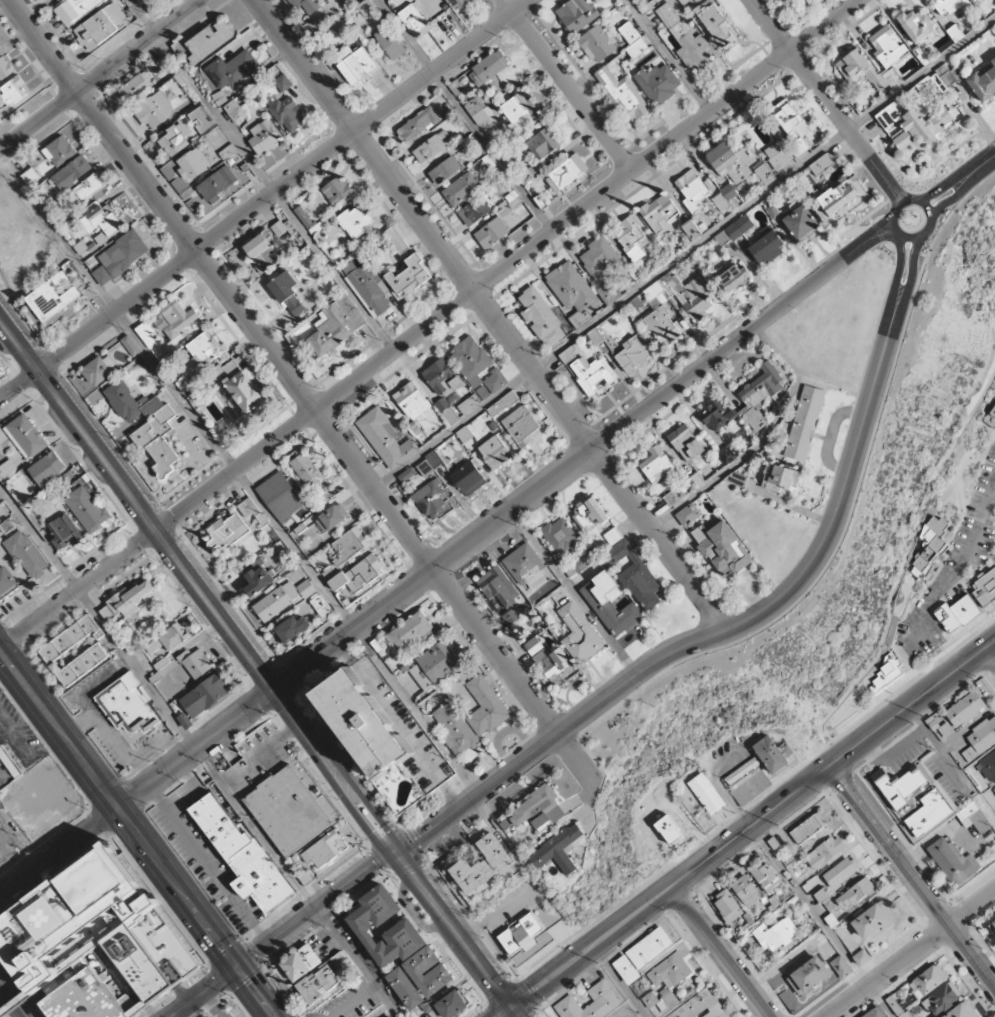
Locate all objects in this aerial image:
building: (330, 0)
building: (784, 0)
building: (457, 4)
building: (306, 5)
building: (948, 6)
building: (365, 7)
building: (74, 9)
building: (577, 14)
building: (414, 20)
building: (715, 23)
building: (915, 24)
building: (101, 26)
building: (686, 39)
building: (209, 40)
building: (633, 40)
building: (390, 42)
building: (597, 44)
road: (42, 46)
road: (138, 46)
building: (887, 46)
road: (667, 56)
building: (354, 63)
building: (488, 67)
building: (5, 68)
building: (232, 69)
building: (864, 70)
road: (809, 77)
building: (941, 78)
building: (283, 83)
building: (658, 83)
building: (983, 83)
road: (567, 85)
building: (136, 87)
building: (455, 87)
building: (14, 90)
building: (623, 95)
building: (518, 108)
building: (479, 109)
building: (155, 110)
building: (235, 111)
building: (288, 114)
road: (464, 115)
building: (786, 116)
road: (38, 121)
building: (418, 124)
building: (912, 126)
building: (263, 137)
building: (174, 139)
building: (544, 143)
building: (429, 149)
building: (59, 151)
building: (776, 155)
building: (731, 161)
road: (985, 162)
building: (193, 164)
building: (821, 164)
building: (445, 170)
building: (566, 172)
building: (763, 172)
building: (71, 173)
road: (260, 175)
road: (887, 177)
road: (881, 182)
road: (966, 183)
road: (947, 184)
building: (218, 185)
building: (91, 187)
building: (461, 189)
building: (337, 190)
building: (692, 190)
building: (725, 197)
building: (837, 197)
road: (264, 200)
road: (940, 206)
building: (474, 211)
building: (660, 215)
building: (303, 216)
road: (864, 216)
building: (101, 219)
building: (356, 220)
building: (800, 222)
road: (875, 228)
building: (734, 230)
building: (692, 231)
building: (491, 232)
road: (864, 237)
road: (885, 237)
road: (909, 237)
building: (631, 239)
building: (396, 240)
road: (888, 246)
building: (767, 248)
road: (911, 250)
road: (683, 251)
road: (857, 252)
building: (262, 253)
building: (120, 256)
building: (600, 258)
road: (897, 274)
building: (408, 276)
building: (732, 276)
road: (912, 276)
building: (367, 286)
building: (606, 291)
building: (287, 293)
building: (681, 294)
building: (53, 298)
road: (492, 313)
building: (541, 317)
building: (175, 320)
road: (428, 323)
building: (335, 324)
building: (662, 326)
building: (146, 334)
building: (204, 348)
building: (567, 355)
building: (632, 355)
building: (477, 366)
building: (100, 369)
building: (591, 375)
building: (442, 378)
building: (240, 385)
building: (759, 396)
building: (412, 401)
building: (502, 403)
building: (469, 404)
building: (446, 411)
building: (716, 415)
building: (991, 417)
building: (804, 423)
building: (146, 424)
building: (522, 425)
building: (26, 436)
building: (385, 438)
road: (337, 441)
building: (685, 442)
building: (495, 452)
building: (727, 454)
building: (429, 463)
road: (735, 463)
building: (656, 465)
building: (48, 469)
building: (307, 471)
road: (238, 474)
building: (406, 474)
building: (468, 478)
building: (781, 478)
building: (280, 496)
building: (672, 498)
building: (322, 499)
building: (431, 500)
building: (88, 509)
building: (251, 511)
building: (589, 512)
building: (687, 514)
building: (330, 519)
road: (846, 524)
building: (6, 526)
building: (63, 532)
building: (226, 532)
building: (559, 535)
building: (612, 536)
road: (157, 540)
building: (929, 545)
building: (348, 546)
building: (722, 548)
building: (27, 554)
building: (584, 561)
building: (526, 567)
building: (635, 575)
building: (359, 576)
road: (420, 579)
building: (258, 580)
building: (6, 583)
building: (498, 587)
building: (984, 588)
road: (575, 592)
building: (282, 598)
building: (126, 601)
building: (609, 604)
building: (320, 605)
building: (956, 613)
building: (511, 616)
building: (292, 628)
building: (412, 632)
building: (579, 633)
road: (710, 636)
building: (70, 639)
building: (168, 639)
road: (992, 644)
road: (992, 651)
road: (265, 658)
building: (547, 658)
building: (197, 663)
building: (82, 665)
building: (437, 665)
railway: (258, 671)
building: (886, 674)
building: (206, 696)
building: (127, 704)
building: (965, 709)
building: (471, 717)
building: (363, 720)
building: (185, 721)
building: (983, 735)
parking lot: (16, 744)
road: (199, 751)
building: (770, 754)
building: (969, 754)
building: (988, 767)
building: (744, 769)
building: (901, 788)
building: (994, 789)
building: (706, 793)
road: (361, 798)
road: (348, 806)
building: (540, 809)
building: (288, 811)
building: (929, 812)
building: (976, 819)
building: (808, 828)
railway: (381, 829)
road: (744, 831)
building: (671, 832)
road: (136, 833)
building: (561, 848)
building: (323, 849)
building: (495, 850)
building: (824, 852)
traffic signals: (388, 853)
building: (243, 856)
building: (953, 861)
building: (840, 872)
building: (473, 874)
road: (912, 876)
building: (766, 877)
building: (746, 890)
building: (855, 894)
building: (728, 906)
helipad: (51, 918)
building: (873, 920)
road: (822, 921)
building: (361, 924)
building: (993, 925)
road: (280, 934)
road: (453, 934)
building: (522, 935)
building: (776, 935)
building: (94, 941)
road: (721, 951)
road: (911, 954)
building: (641, 955)
building: (302, 963)
building: (841, 966)
traffic signals: (236, 968)
parking lot: (378, 973)
building: (808, 975)
building: (323, 980)
road: (620, 981)
building: (666, 981)
building: (927, 981)
road: (13, 998)
building: (942, 998)
road: (16, 1001)
parking lot: (349, 1001)
building: (591, 1003)
building: (452, 1004)
building: (701, 1006)
railway: (6, 1008)
traffic signals: (511, 1009)
parking lot: (229, 1010)
building: (962, 1011)
building: (877, 1013)
building: (392, 1016)

